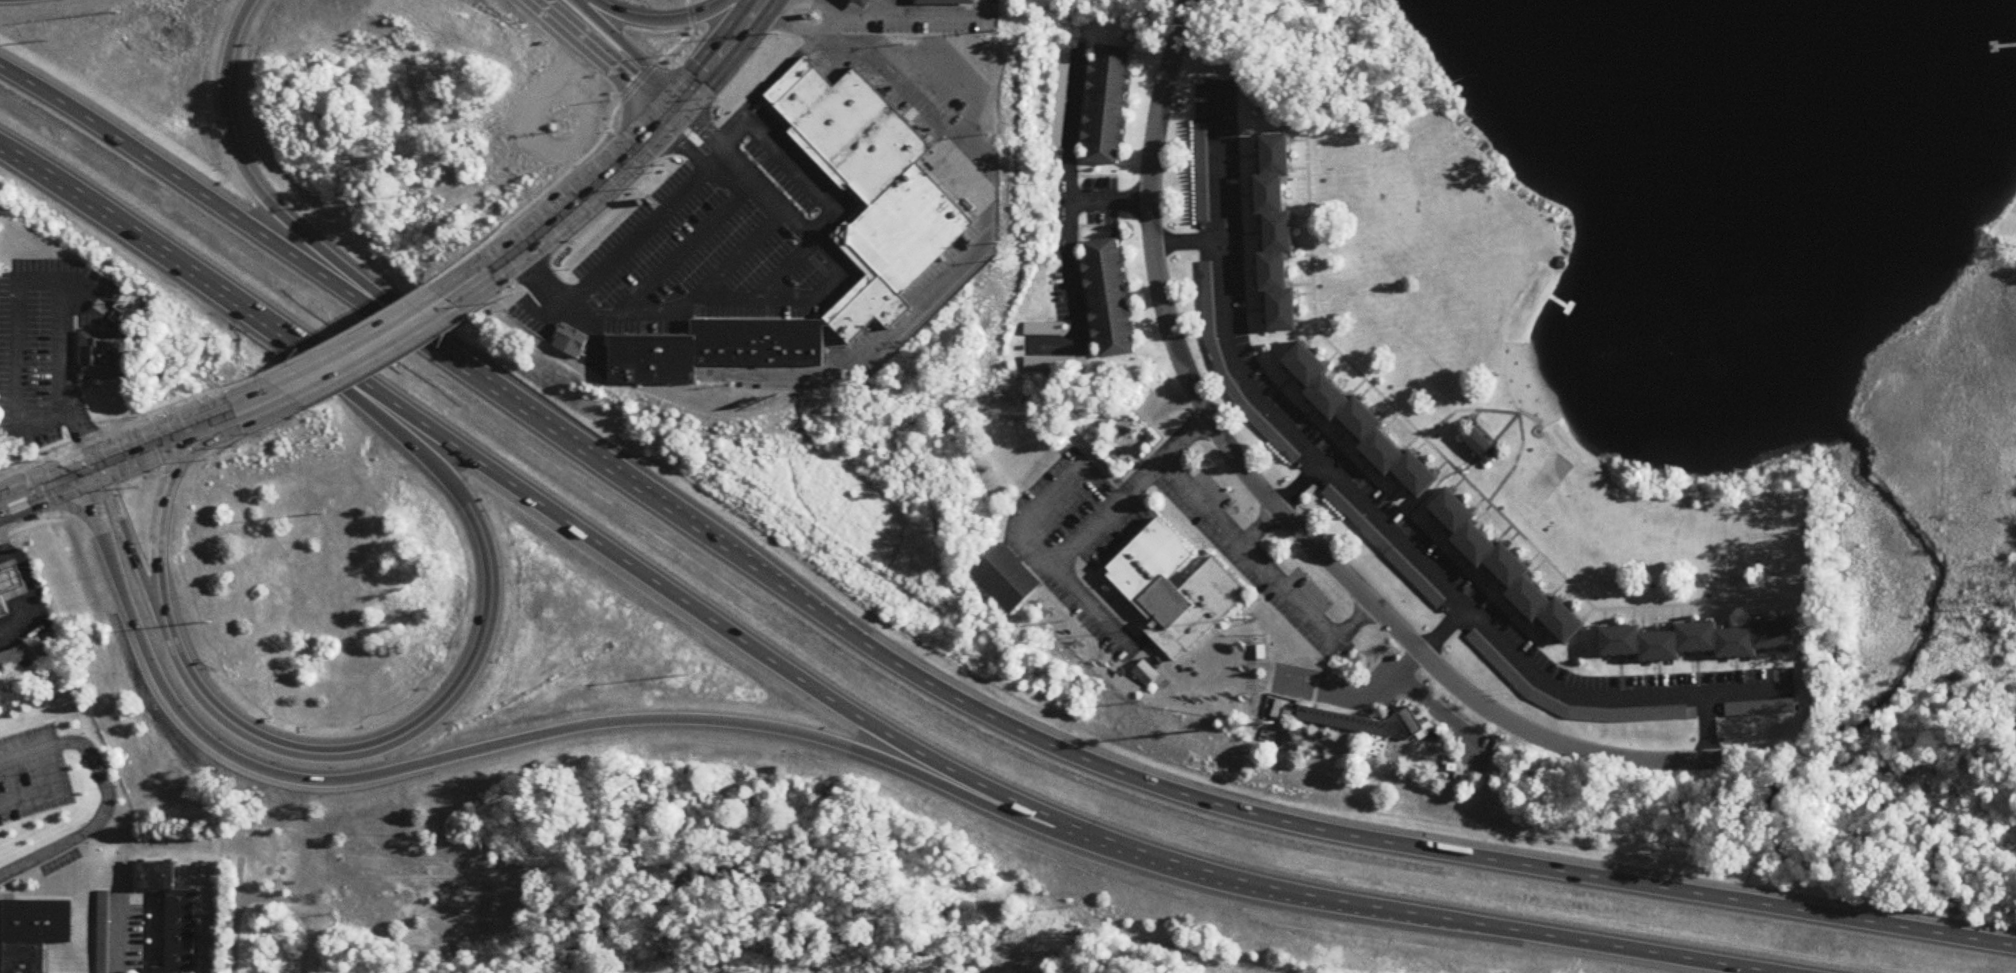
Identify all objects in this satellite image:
building: (947, 2)
building: (866, 3)
road: (827, 5)
road: (889, 6)
road: (905, 12)
road: (657, 22)
road: (629, 47)
road: (607, 56)
road: (777, 73)
traffic signals: (680, 101)
building: (1108, 105)
traffic signals: (663, 119)
road: (704, 128)
road: (729, 138)
road: (686, 146)
road: (240, 155)
road: (664, 156)
road: (582, 157)
road: (617, 162)
building: (1202, 172)
road: (802, 178)
road: (1110, 202)
building: (916, 216)
road: (985, 220)
road: (1068, 228)
road: (641, 232)
building: (1278, 233)
road: (1187, 242)
road: (686, 248)
road: (738, 255)
road: (785, 269)
road: (761, 298)
building: (1110, 298)
building: (1211, 316)
road: (1314, 328)
road: (343, 330)
building: (1043, 330)
road: (97, 331)
road: (18, 336)
parking lot: (42, 340)
building: (572, 341)
road: (76, 342)
road: (366, 345)
building: (106, 357)
building: (1055, 364)
road: (64, 377)
road: (83, 391)
road: (1515, 414)
road: (128, 417)
building: (1361, 423)
road: (181, 434)
building: (1482, 446)
traffic signals: (96, 467)
road: (446, 470)
traffic signals: (77, 474)
park: (1550, 474)
road: (50, 485)
road: (38, 487)
road: (1300, 487)
road: (1130, 492)
road: (1054, 498)
road: (1423, 500)
road: (1276, 508)
road: (156, 511)
road: (1375, 517)
road: (30, 523)
road: (1259, 526)
road: (1134, 539)
road: (4, 545)
road: (1249, 551)
road: (132, 553)
road: (1115, 555)
road: (1194, 560)
building: (1507, 570)
road: (1105, 571)
road: (1241, 578)
building: (11, 579)
building: (1007, 580)
building: (1173, 590)
road: (1076, 593)
road: (34, 599)
building: (3, 606)
road: (1594, 608)
road: (1245, 611)
road: (1132, 624)
road: (1354, 624)
road: (1443, 629)
building: (1700, 641)
building: (15, 659)
building: (1500, 664)
road: (932, 685)
road: (1356, 693)
road: (825, 694)
building: (1760, 708)
building: (1278, 710)
building: (1367, 726)
road: (1708, 727)
road: (537, 740)
road: (385, 743)
road: (1943, 743)
road: (1841, 748)
road: (1771, 754)
parking lot: (25, 775)
road: (48, 786)
road: (107, 795)
parking lot: (59, 860)
road: (266, 897)
building: (173, 914)
road: (235, 914)
road: (118, 931)
building: (103, 932)
building: (34, 933)

